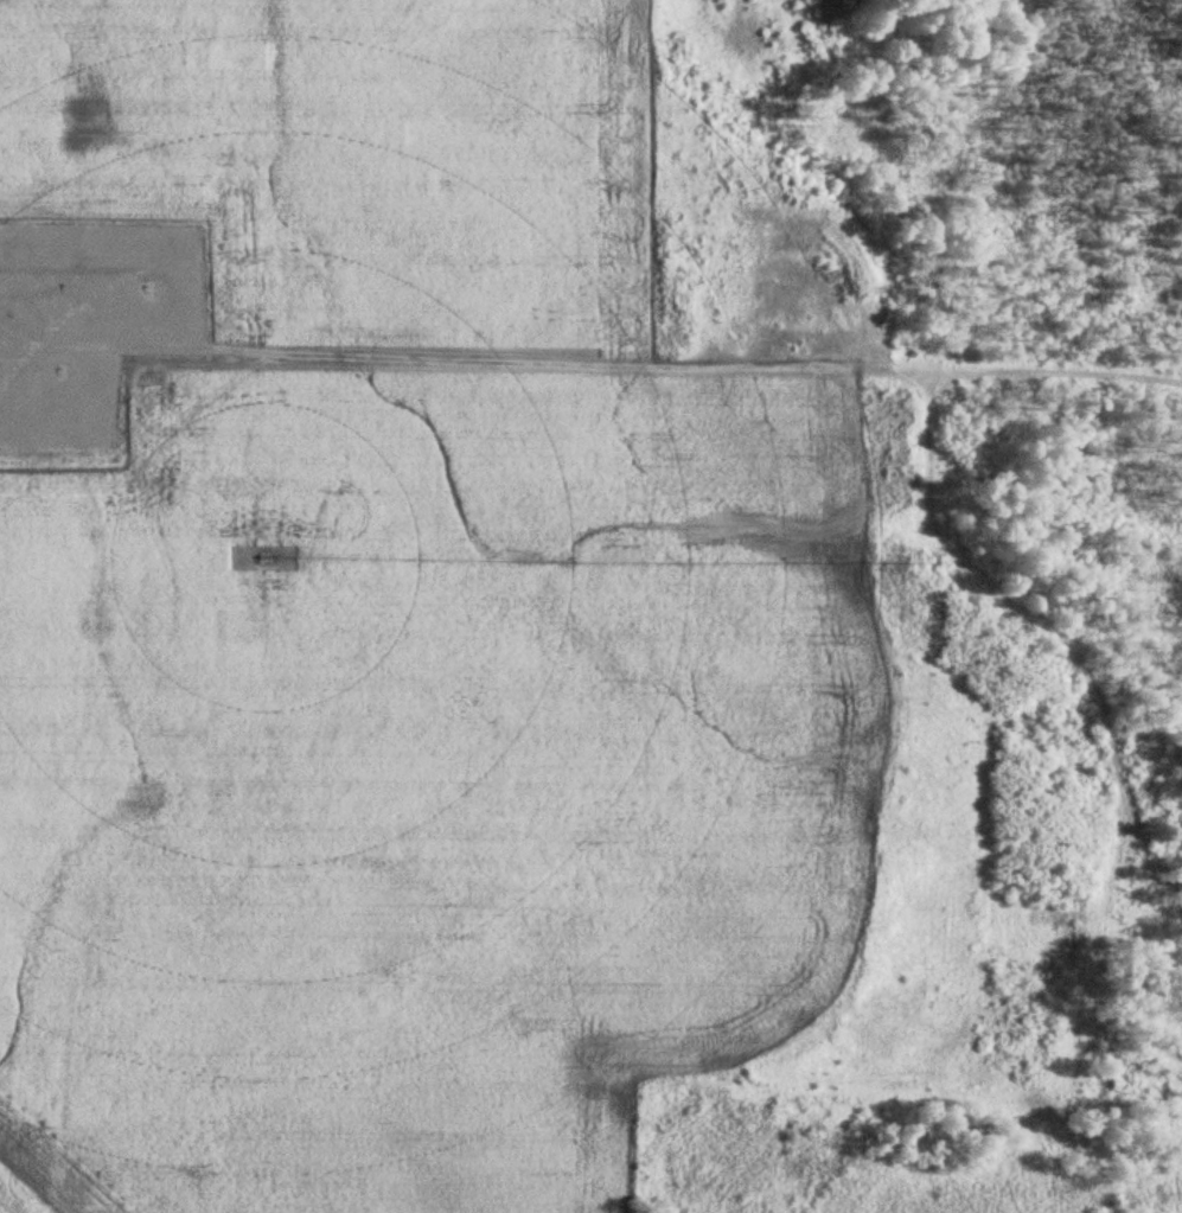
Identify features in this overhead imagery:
road: (569, 357)
road: (844, 364)

